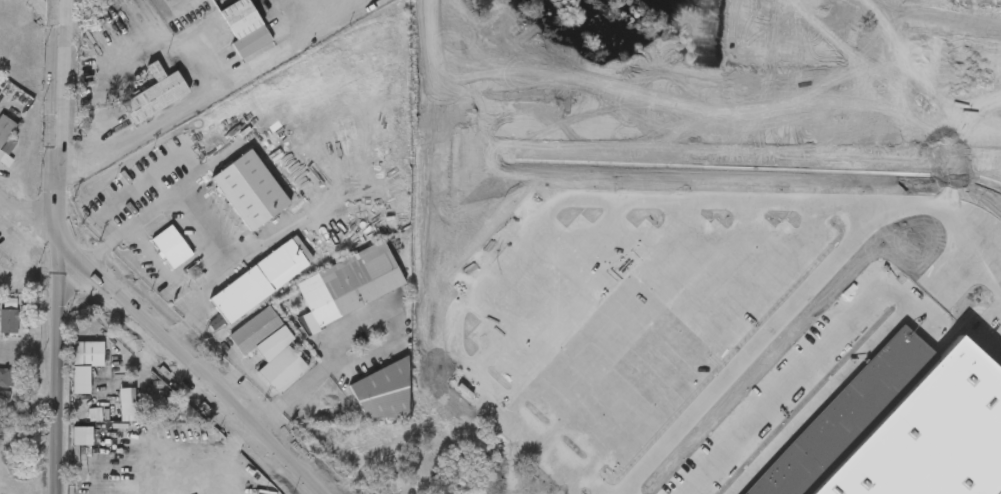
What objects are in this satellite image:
road: (46, 4)
road: (465, 15)
building: (243, 26)
road: (536, 31)
building: (154, 92)
road: (798, 92)
road: (197, 102)
road: (487, 102)
road: (923, 124)
road: (950, 124)
building: (5, 129)
building: (6, 152)
road: (949, 184)
road: (923, 185)
building: (249, 189)
road: (544, 214)
road: (197, 220)
road: (27, 221)
road: (273, 233)
road: (53, 246)
building: (170, 246)
road: (877, 276)
building: (258, 280)
road: (548, 282)
building: (348, 283)
road: (602, 300)
building: (10, 303)
road: (793, 306)
building: (9, 320)
road: (654, 320)
road: (934, 320)
road: (705, 337)
building: (269, 347)
building: (85, 364)
road: (190, 364)
road: (320, 367)
road: (237, 373)
building: (6, 378)
building: (382, 390)
building: (3, 426)
building: (82, 436)
building: (583, 467)
building: (386, 473)
building: (795, 484)

